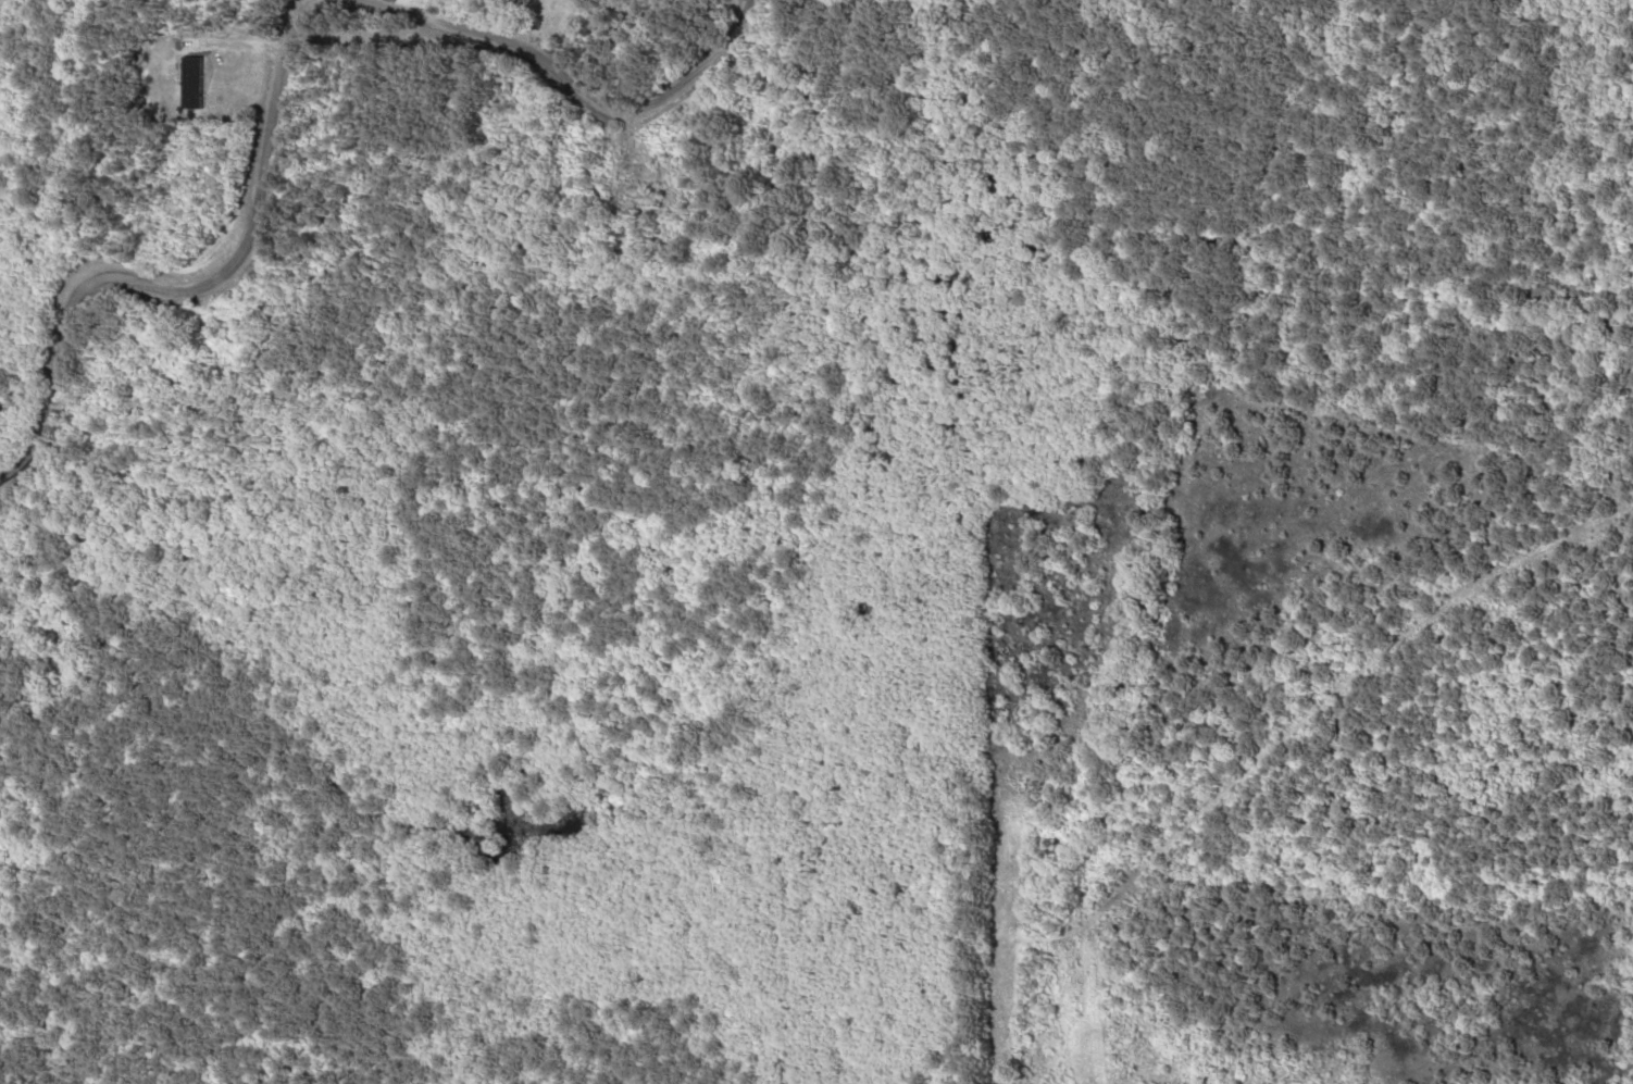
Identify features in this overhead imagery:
road: (564, 79)
building: (638, 178)
road: (186, 289)

